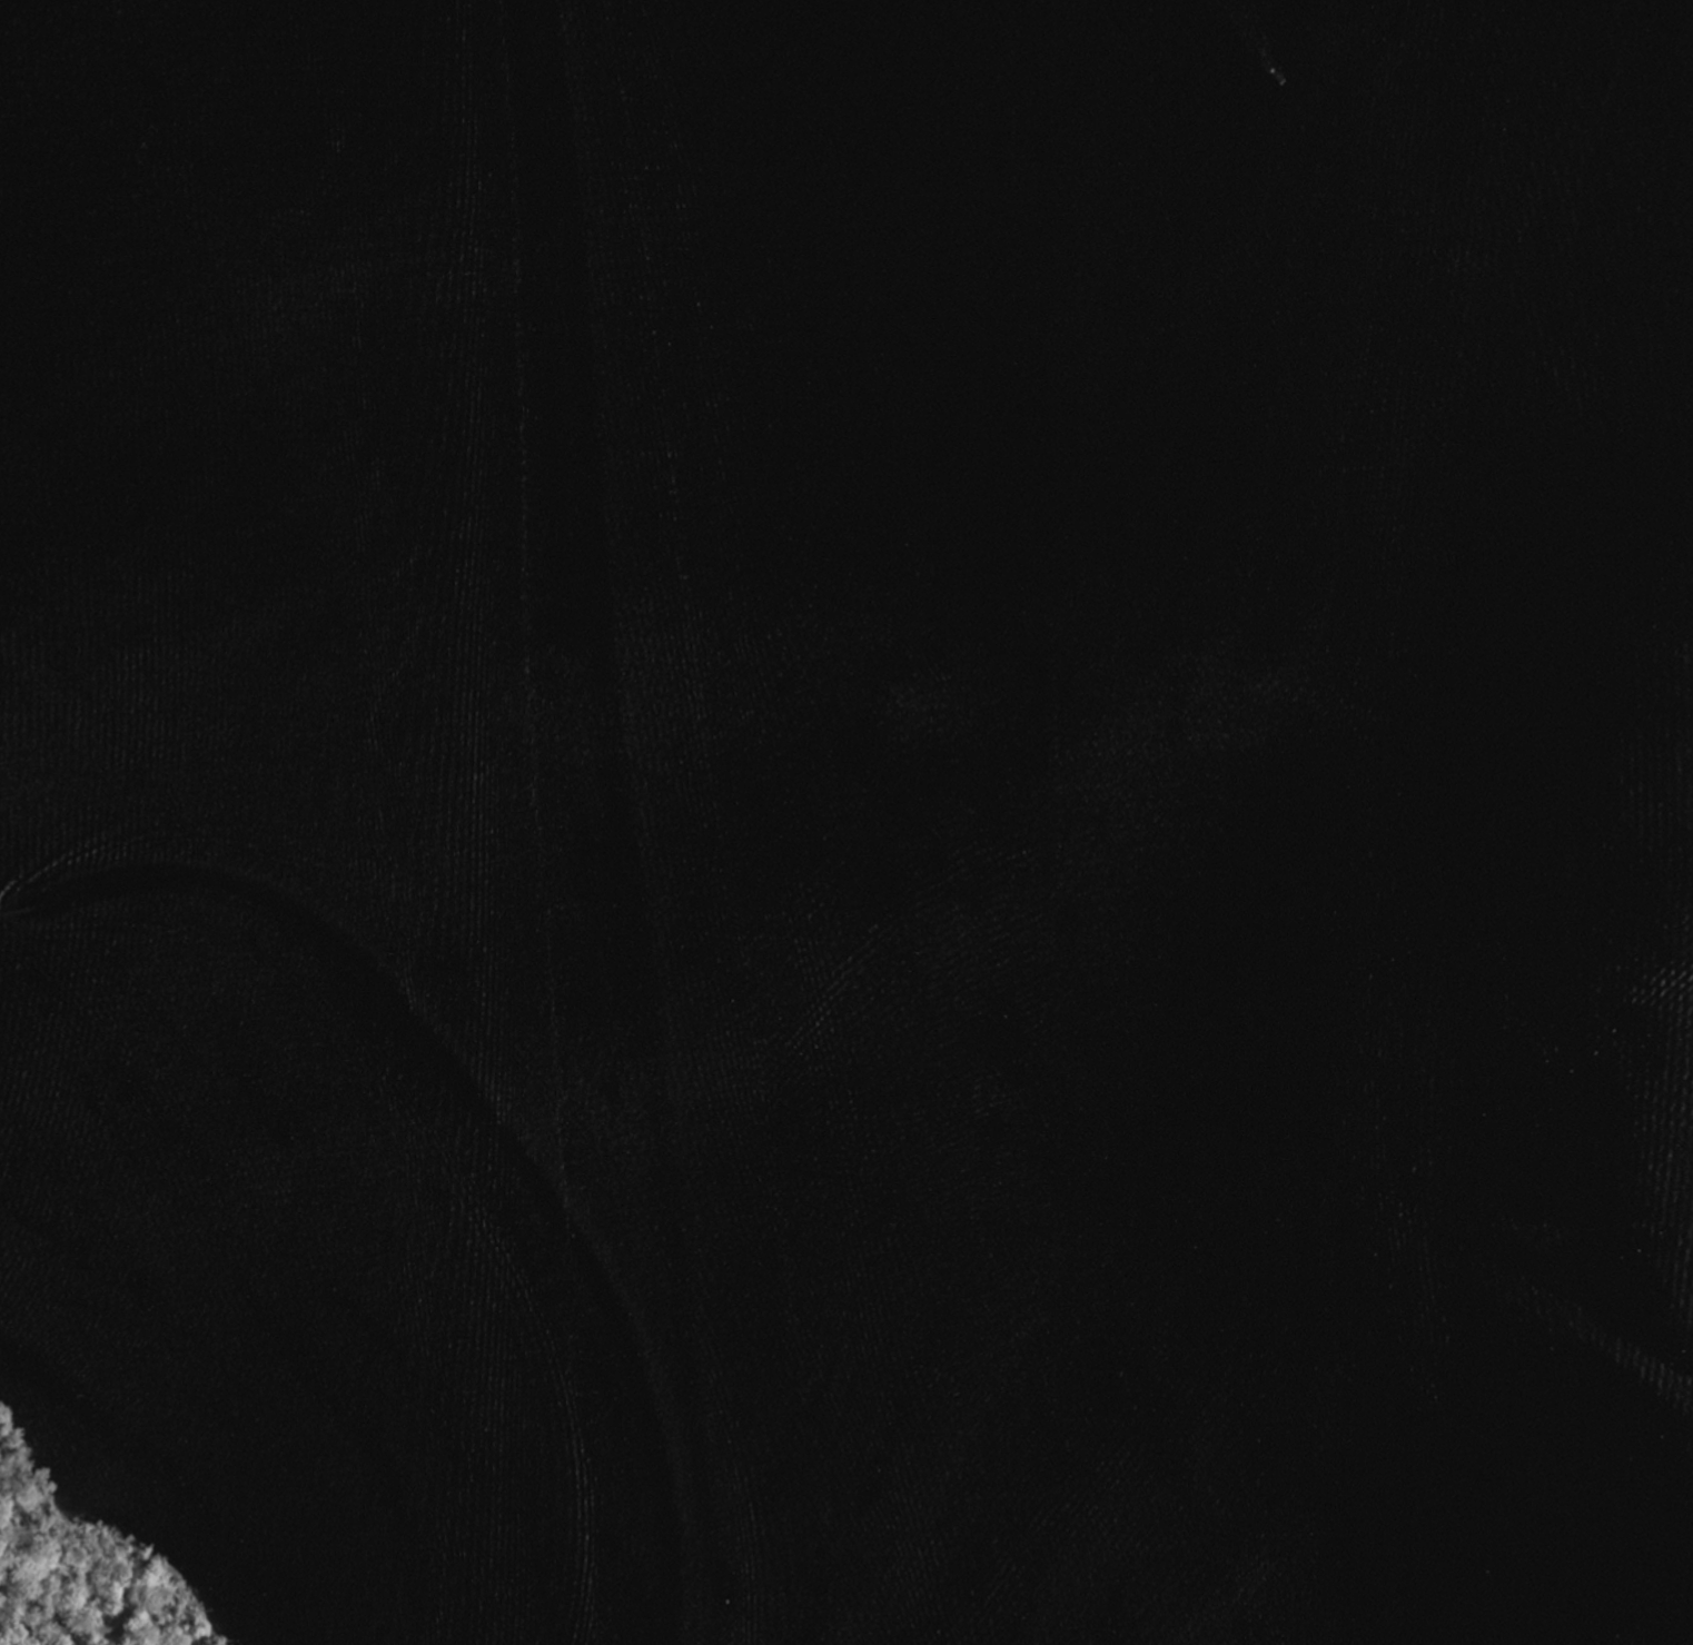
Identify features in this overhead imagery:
road: (39, 1616)

